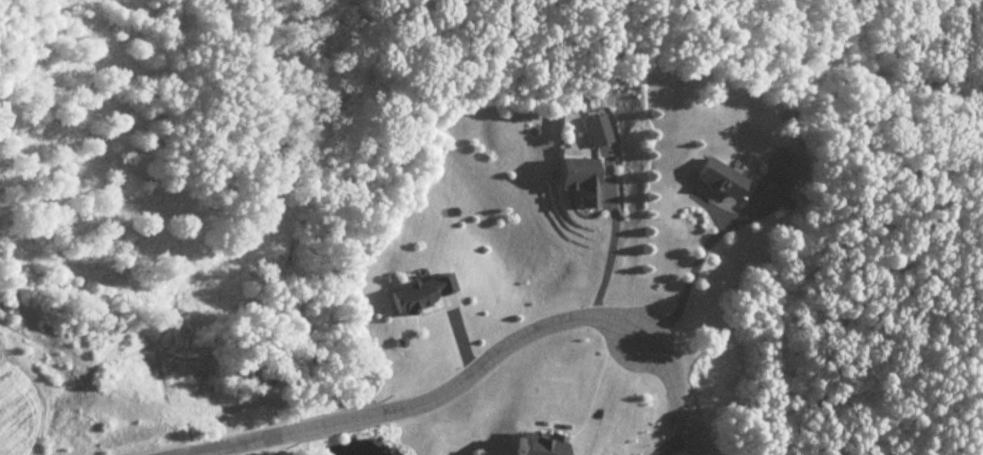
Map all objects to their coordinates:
building: (598, 130)
building: (783, 163)
building: (580, 178)
building: (719, 178)
road: (605, 251)
road: (694, 257)
park: (894, 281)
building: (421, 292)
road: (480, 363)
building: (270, 392)
building: (539, 445)

